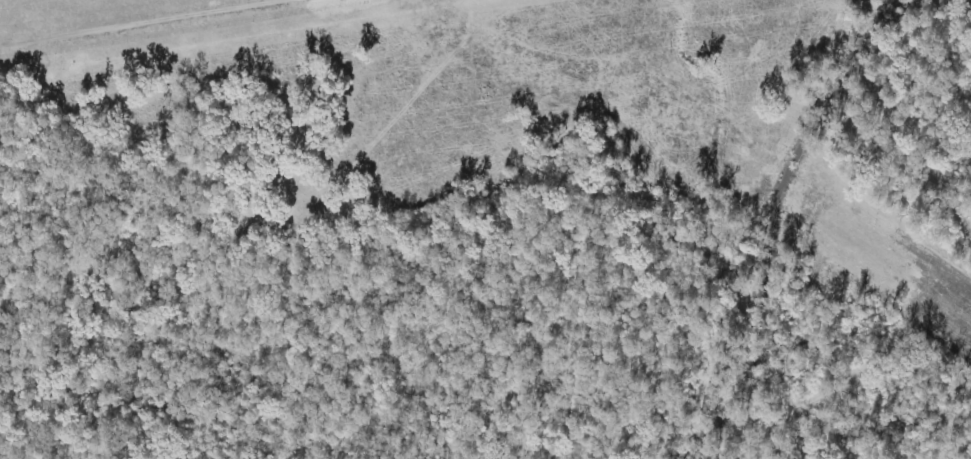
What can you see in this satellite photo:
road: (168, 21)

